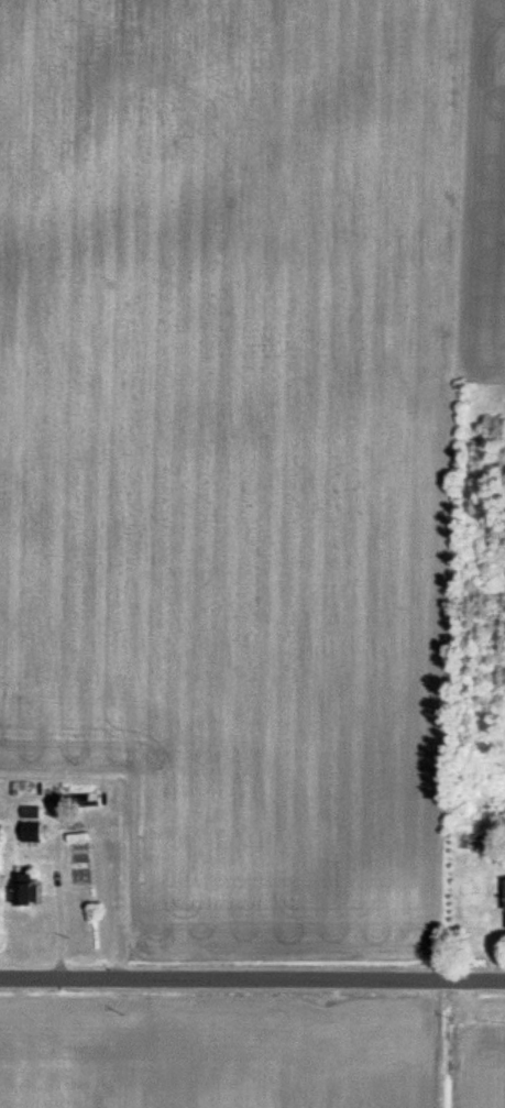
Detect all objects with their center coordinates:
building: (88, 800)
building: (31, 826)
building: (78, 858)
building: (23, 890)
building: (504, 906)
road: (252, 977)

